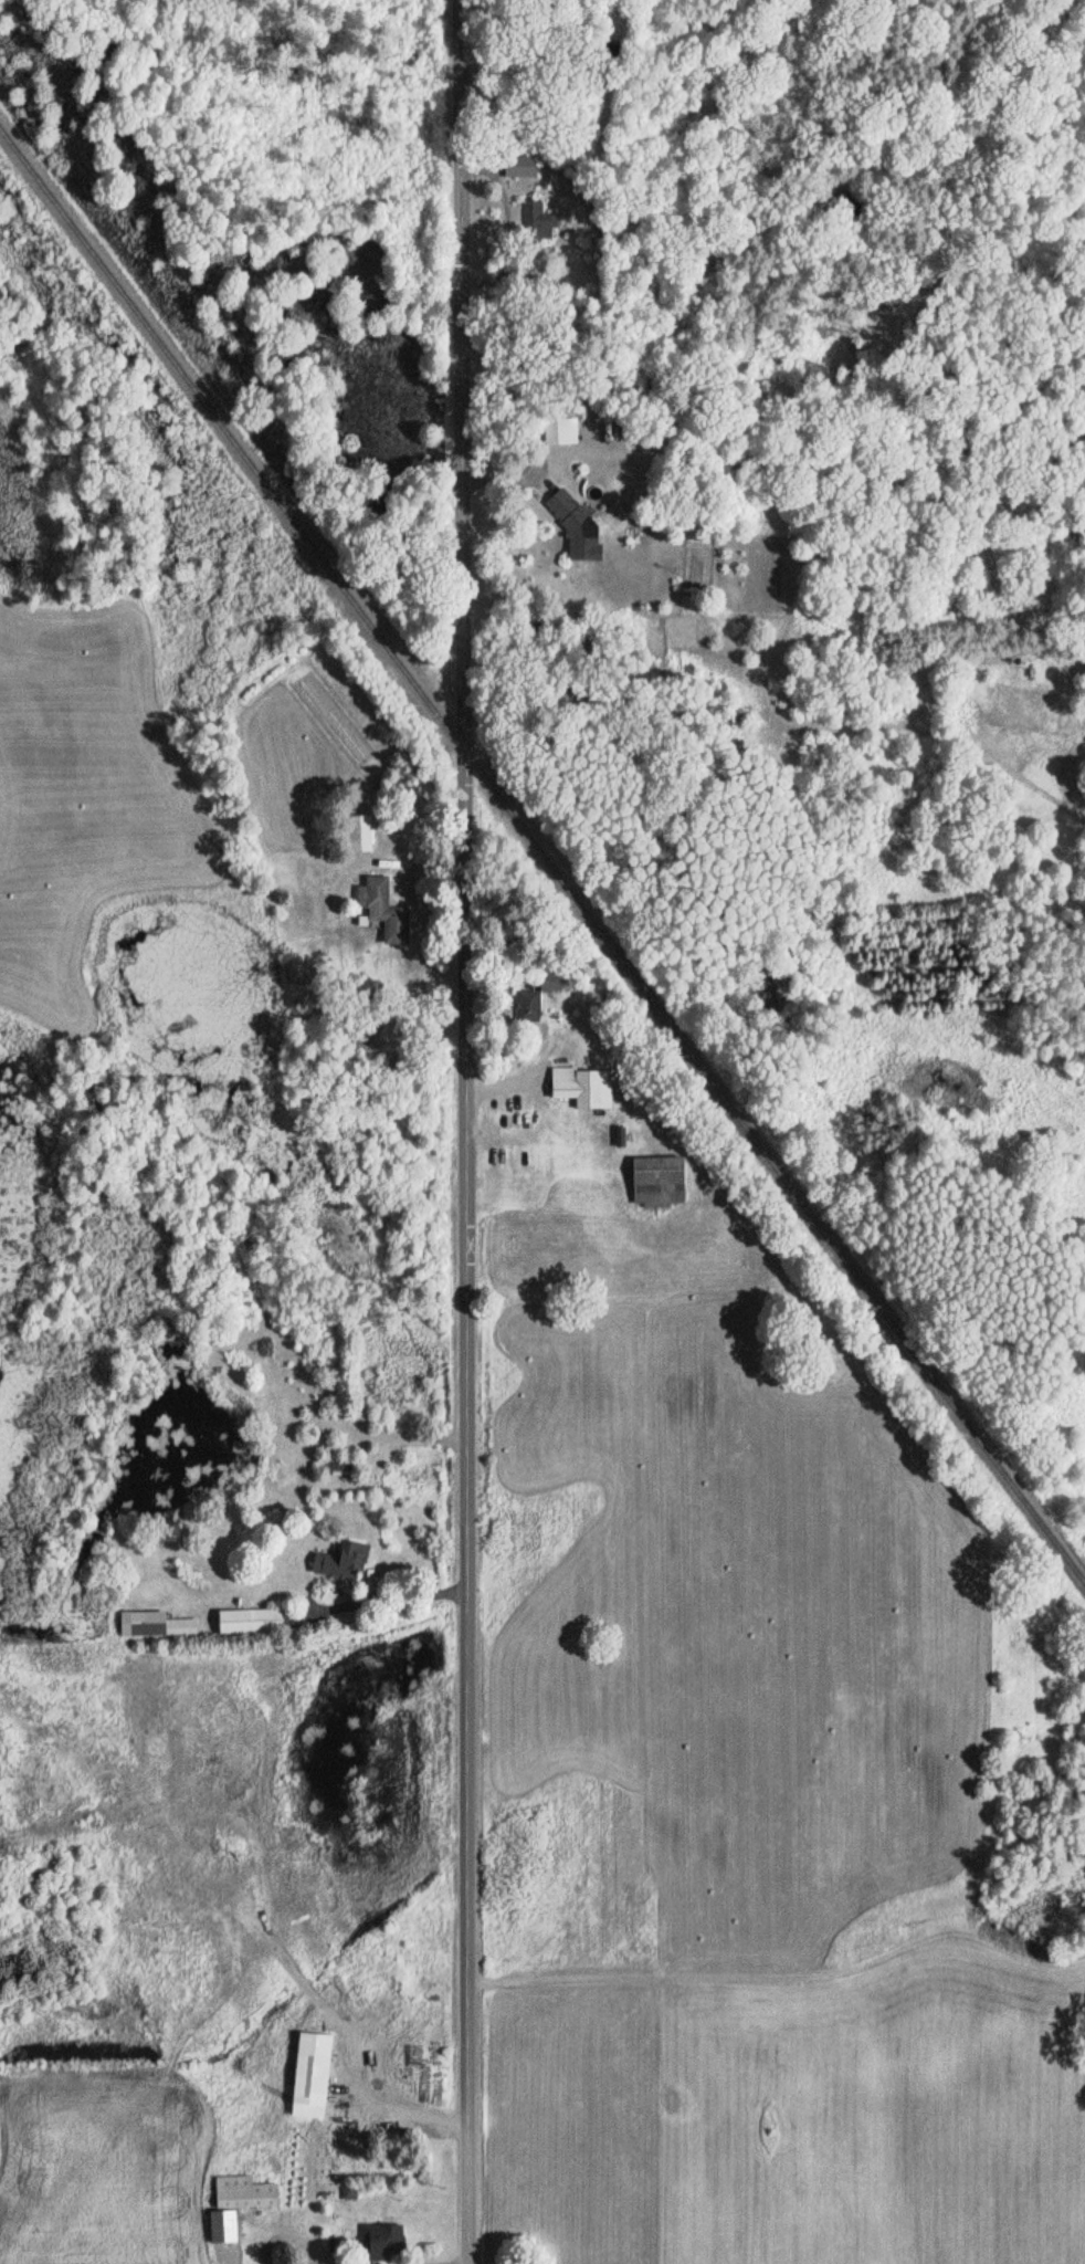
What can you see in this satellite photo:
building: (523, 168)
building: (538, 219)
building: (562, 427)
building: (359, 832)
railway: (542, 851)
building: (387, 909)
building: (541, 995)
building: (586, 1086)
road: (465, 1131)
building: (663, 1180)
building: (341, 1466)
building: (347, 1560)
building: (253, 1621)
building: (162, 1624)
building: (240, 2203)
building: (385, 2241)

